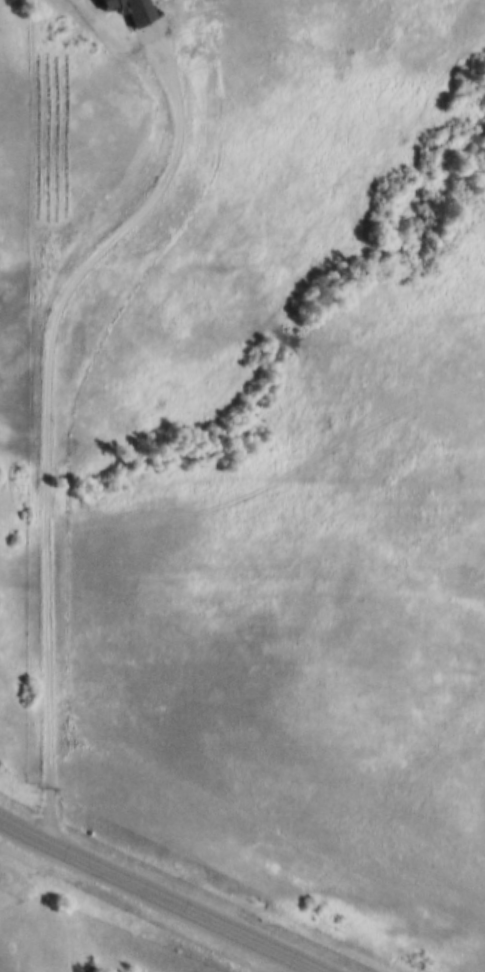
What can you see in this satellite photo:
road: (158, 899)

